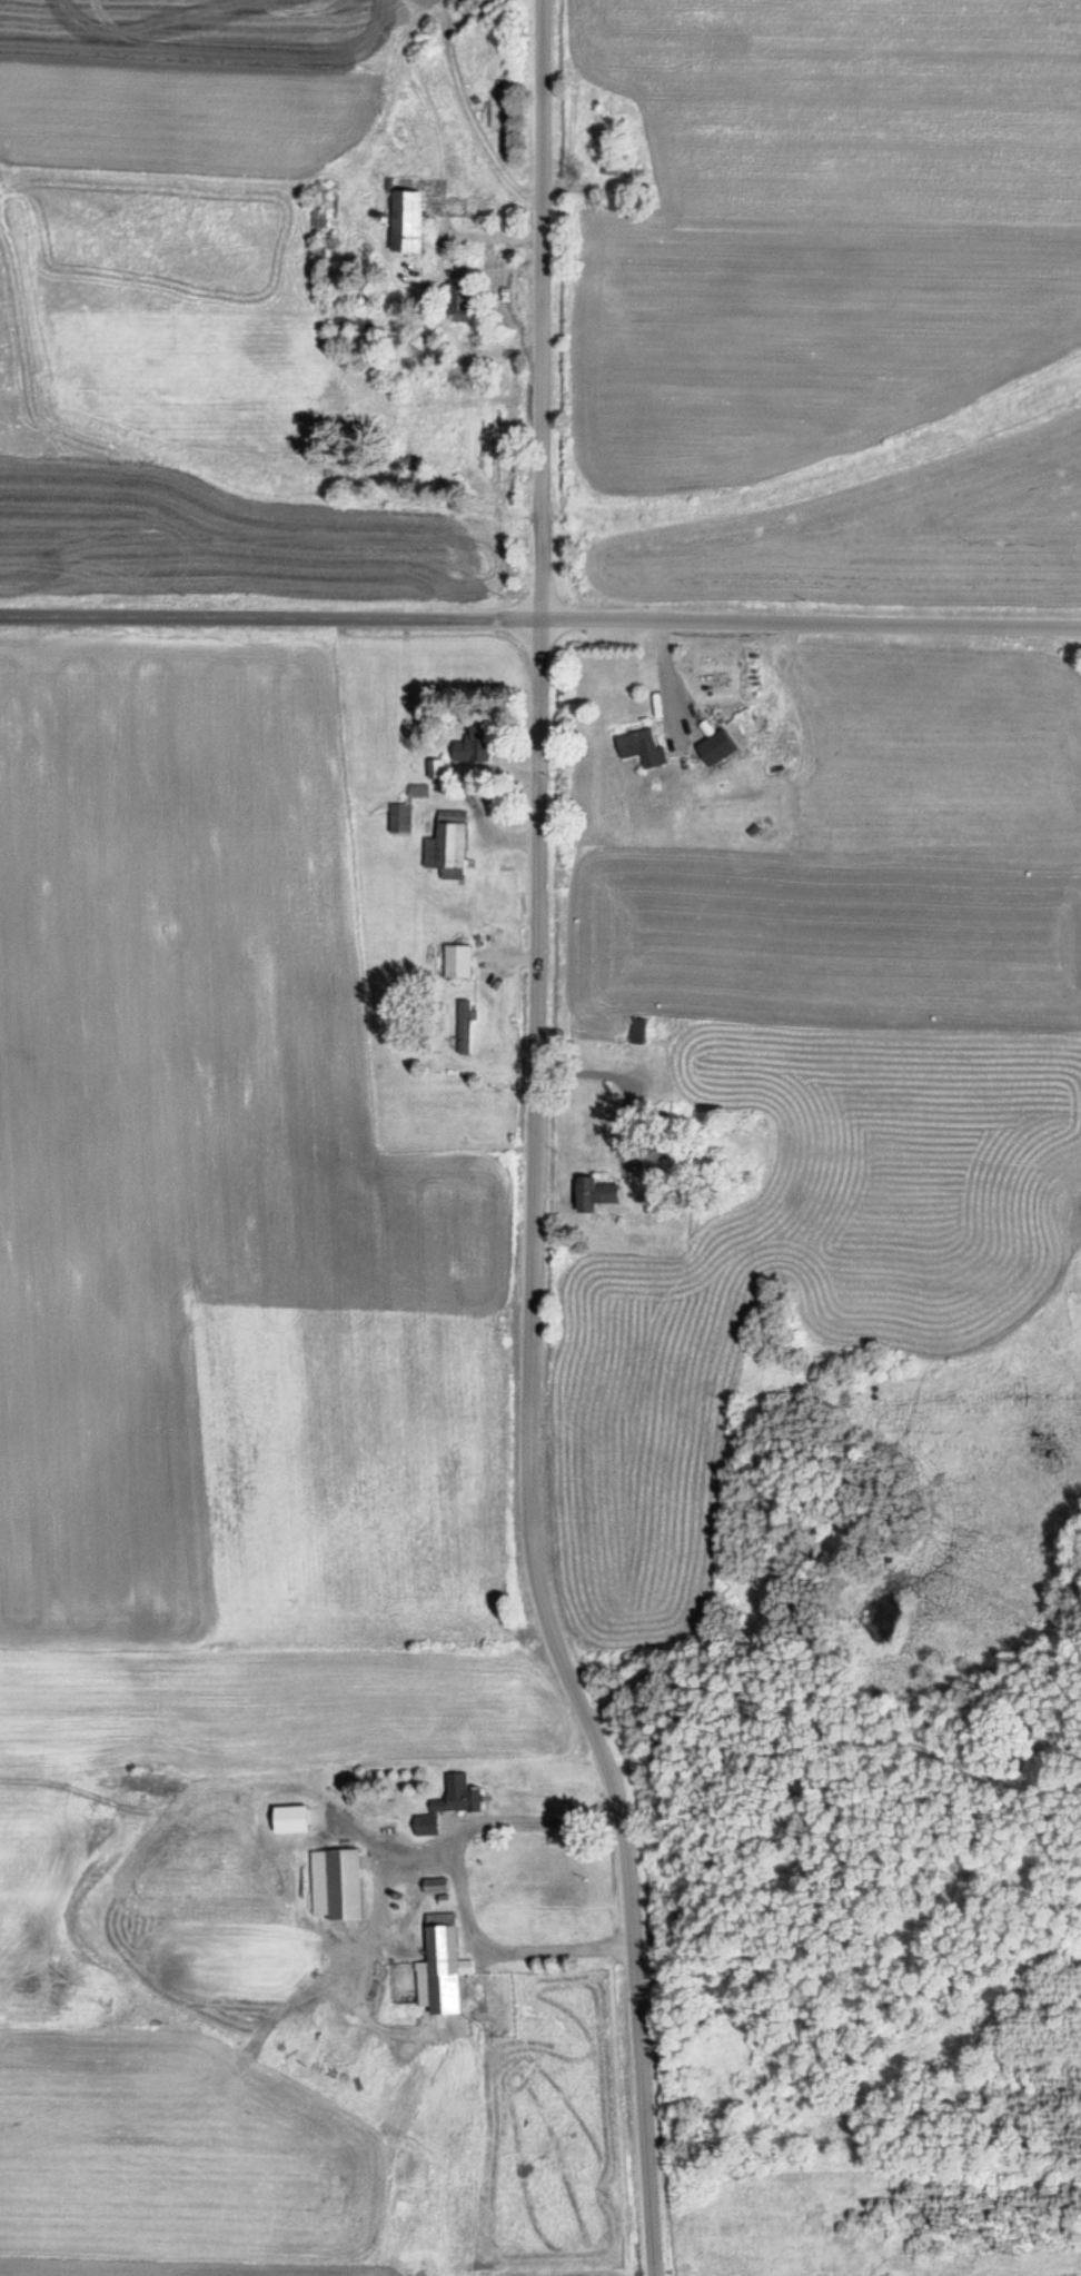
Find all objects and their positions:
building: (406, 221)
building: (459, 301)
road: (537, 308)
building: (349, 324)
road: (270, 614)
road: (811, 622)
building: (473, 745)
building: (641, 746)
building: (716, 746)
building: (399, 818)
building: (447, 845)
building: (457, 960)
building: (464, 1026)
building: (638, 1030)
building: (658, 1162)
building: (594, 1193)
road: (526, 1454)
building: (449, 1803)
building: (336, 1884)
building: (439, 1967)

